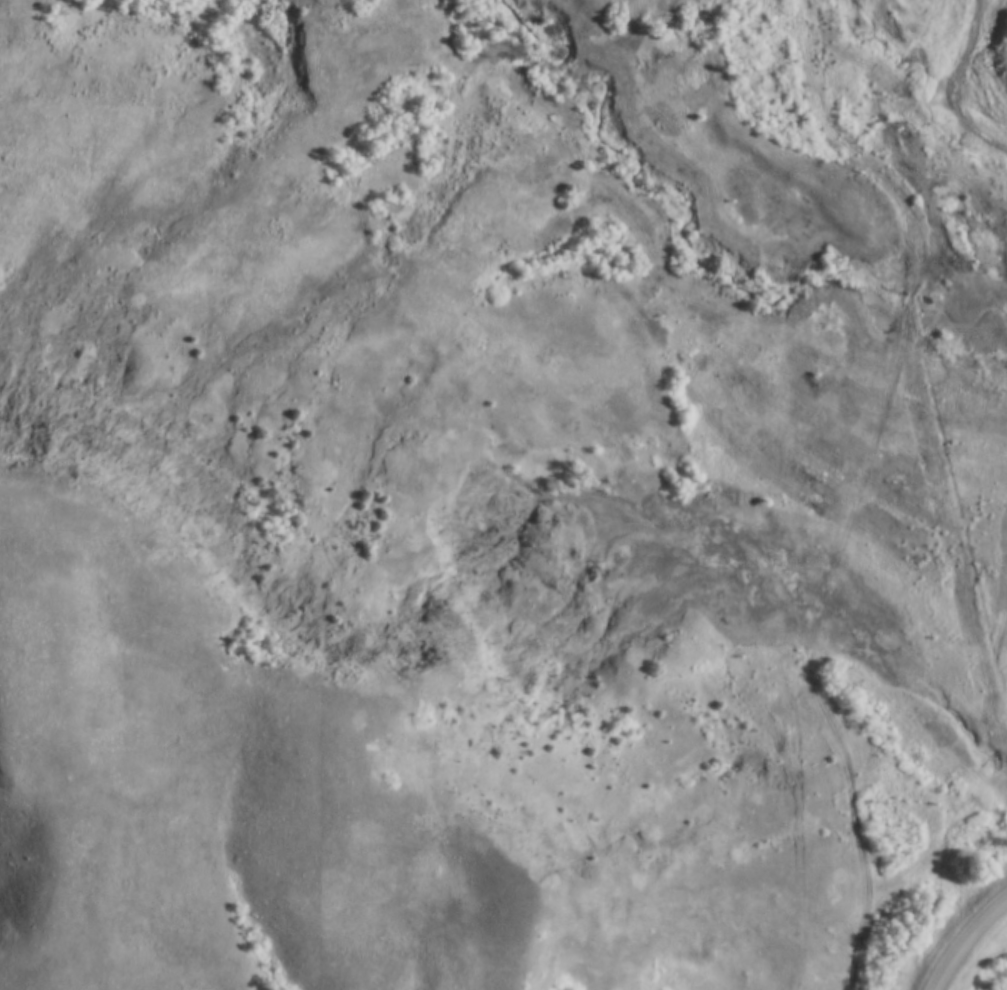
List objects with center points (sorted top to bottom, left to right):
road: (966, 939)

